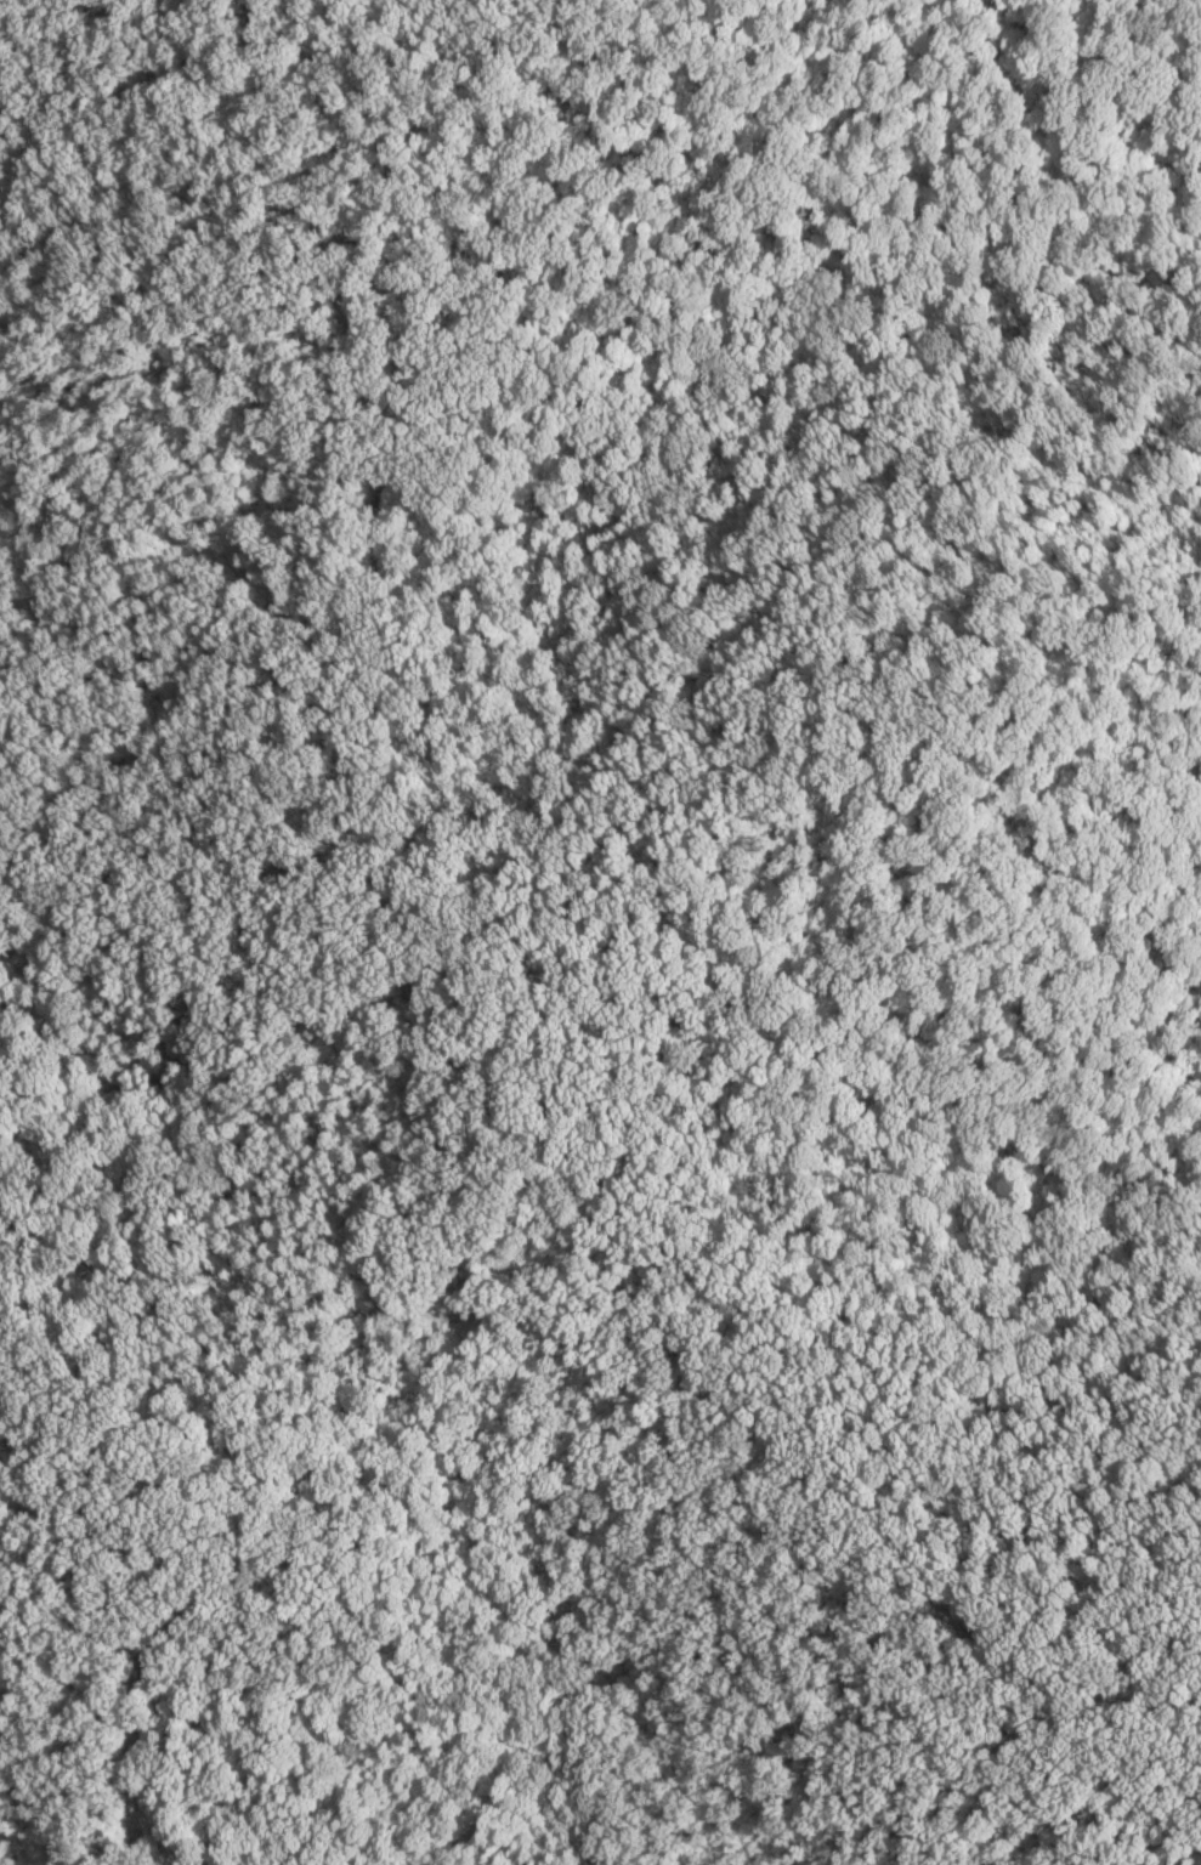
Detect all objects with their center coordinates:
road: (391, 964)

